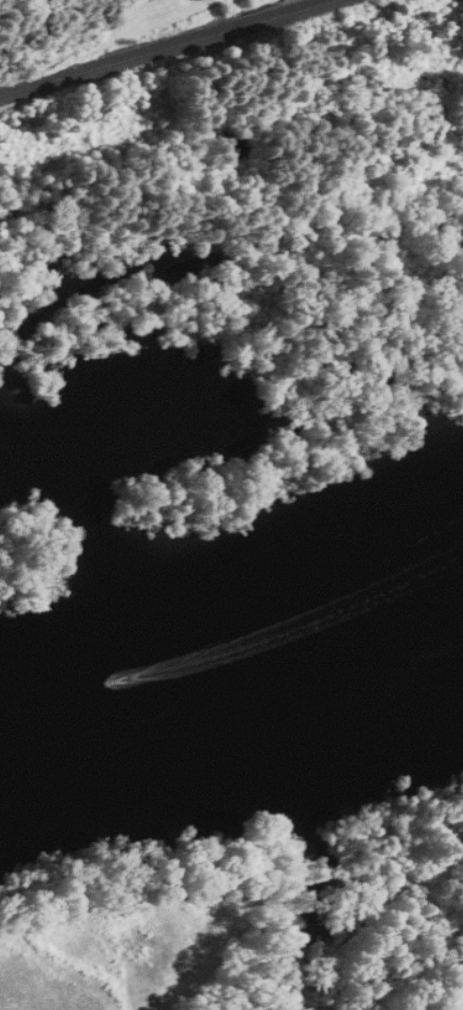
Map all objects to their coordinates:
railway: (158, 46)
river: (233, 515)

